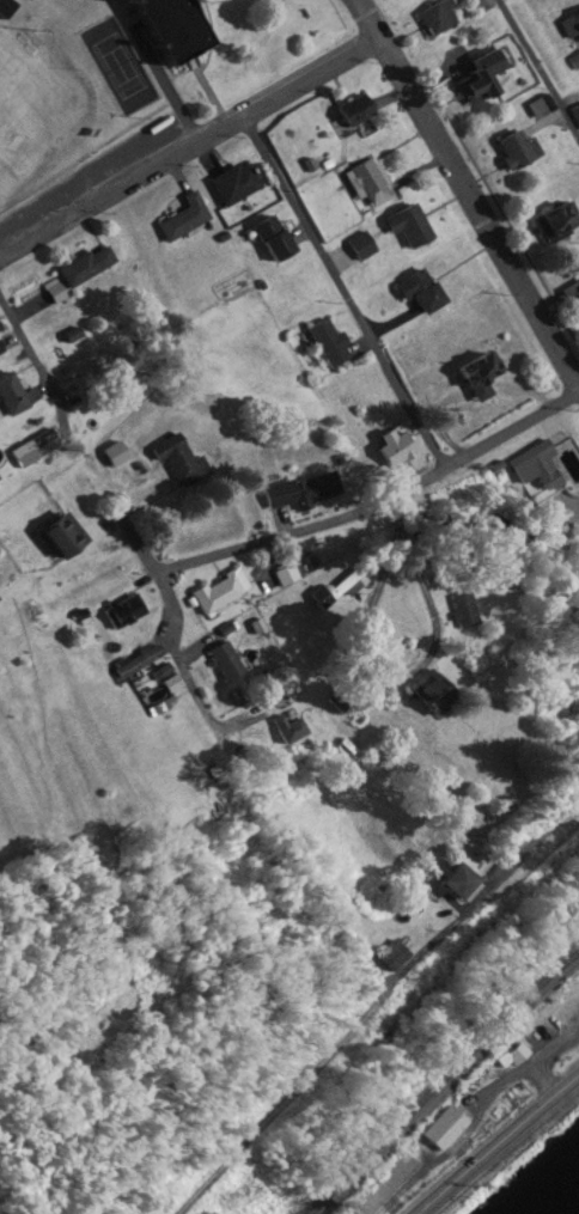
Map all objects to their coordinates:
building: (439, 19)
building: (181, 30)
building: (572, 30)
road: (538, 68)
building: (484, 78)
building: (575, 115)
building: (359, 116)
road: (187, 147)
building: (519, 151)
building: (370, 183)
building: (238, 184)
road: (464, 189)
building: (187, 219)
building: (562, 225)
building: (413, 227)
building: (275, 240)
building: (90, 266)
building: (425, 292)
building: (571, 292)
road: (343, 293)
building: (333, 343)
road: (29, 350)
building: (483, 376)
building: (13, 394)
building: (397, 446)
building: (36, 449)
building: (116, 455)
building: (183, 462)
building: (543, 463)
building: (306, 490)
road: (374, 505)
road: (398, 514)
building: (291, 573)
building: (223, 591)
building: (336, 592)
building: (465, 608)
road: (177, 658)
building: (141, 659)
building: (230, 661)
road: (355, 677)
building: (438, 688)
building: (291, 726)
building: (471, 878)
road: (376, 1006)
railway: (446, 1088)
building: (447, 1128)
road: (499, 1146)
building: (386, 1185)

